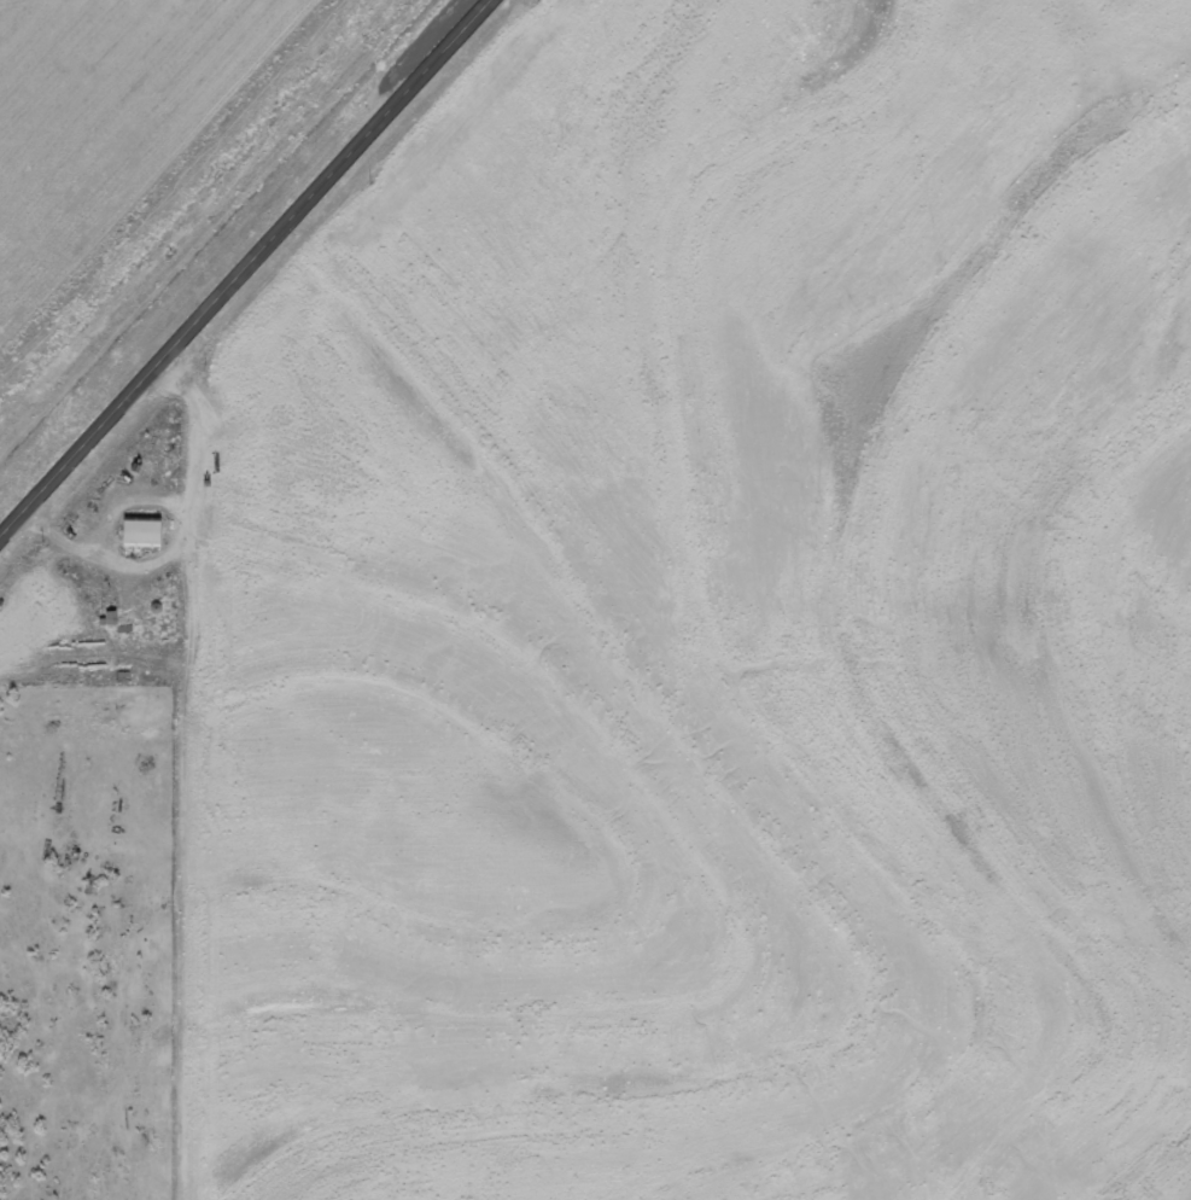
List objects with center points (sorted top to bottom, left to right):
railway: (198, 203)
road: (247, 272)
building: (142, 534)
road: (186, 796)

